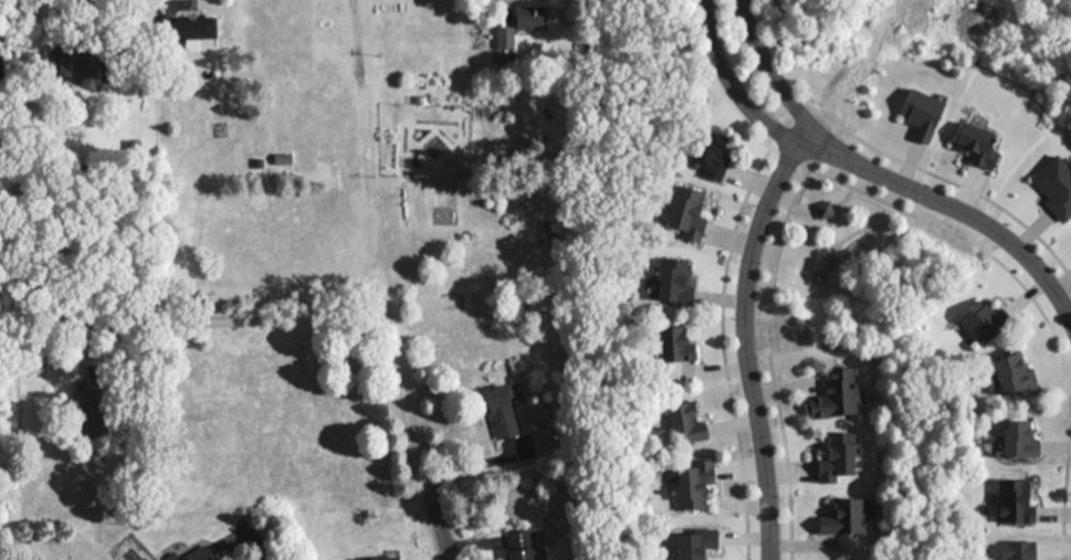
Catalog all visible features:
road: (501, 13)
building: (533, 17)
building: (202, 27)
road: (128, 31)
building: (78, 63)
building: (1, 66)
road: (769, 72)
road: (732, 88)
building: (981, 146)
building: (713, 154)
building: (284, 160)
road: (954, 208)
building: (687, 213)
road: (128, 320)
road: (371, 320)
road: (746, 342)
building: (678, 346)
building: (1017, 374)
building: (837, 394)
building: (91, 409)
building: (503, 412)
building: (685, 422)
building: (1021, 436)
building: (841, 455)
building: (695, 483)
building: (1017, 499)
road: (433, 513)
building: (844, 515)
road: (258, 542)
building: (522, 543)
building: (1021, 549)
building: (201, 553)
building: (378, 557)
building: (852, 559)

